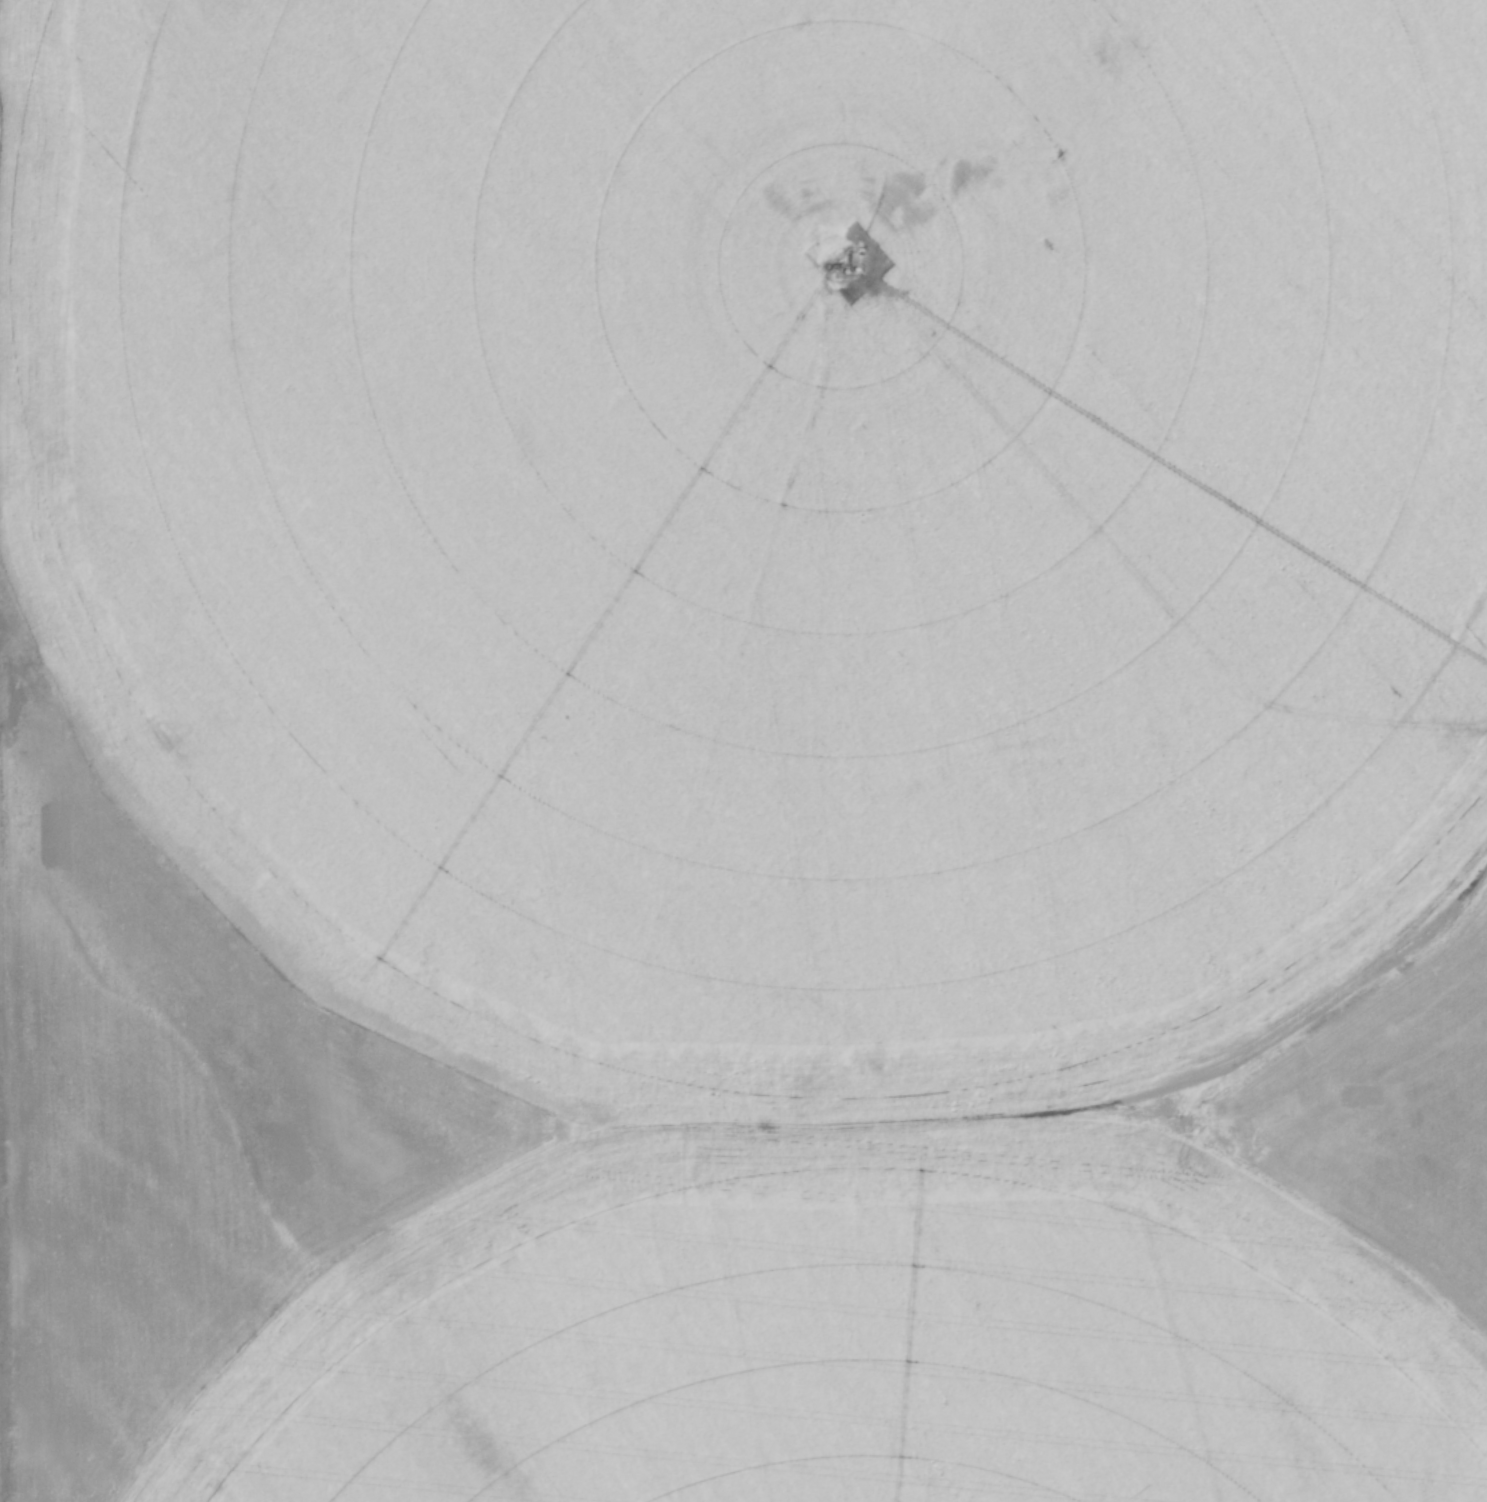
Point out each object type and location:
crop: (743, 750)

